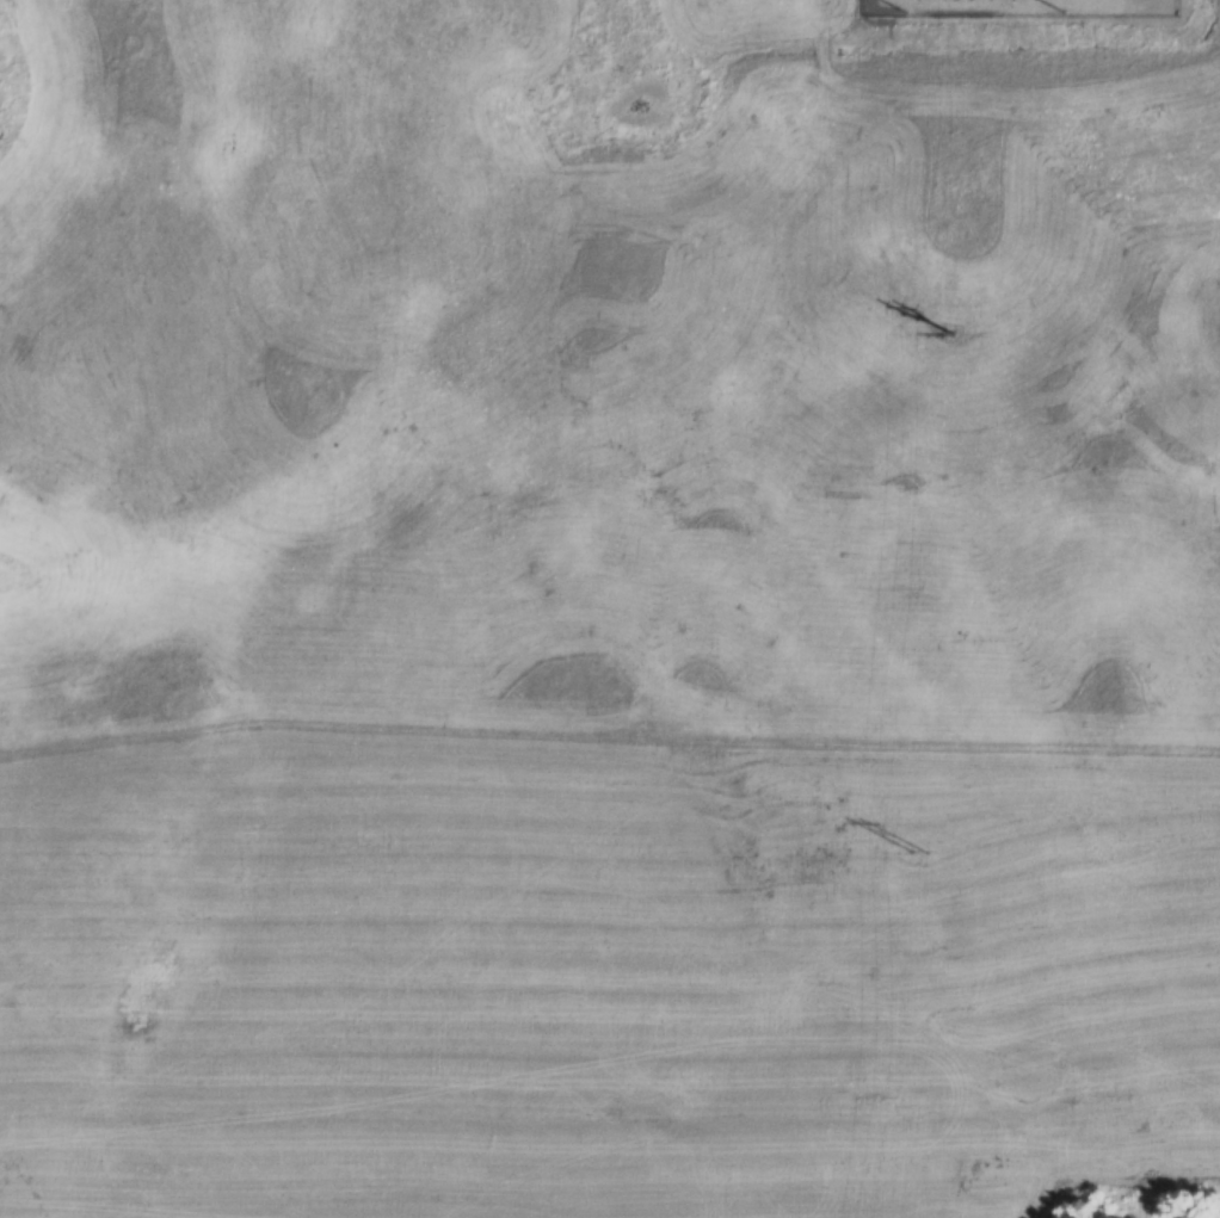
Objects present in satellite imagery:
power substation: (1017, 8)
power tower: (945, 334)
power tower: (917, 853)

